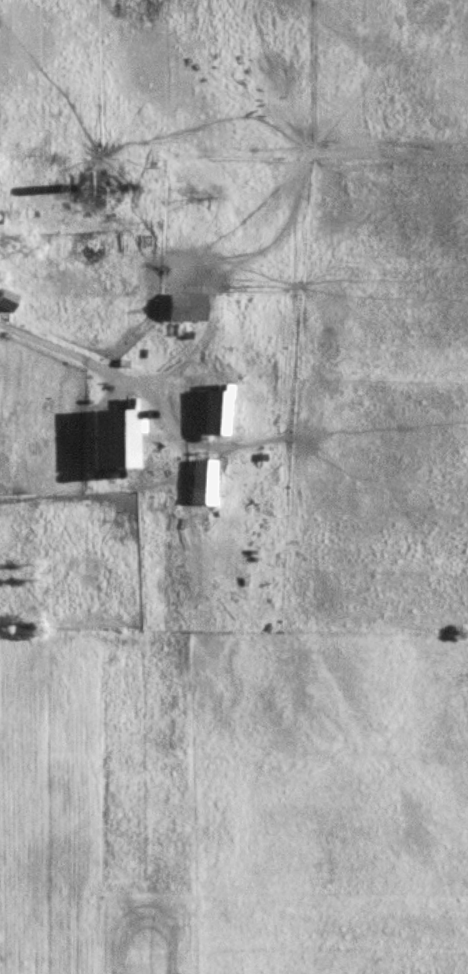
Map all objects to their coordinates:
building: (85, 187)
building: (129, 243)
building: (9, 301)
building: (189, 307)
building: (214, 412)
building: (121, 438)
building: (207, 474)

